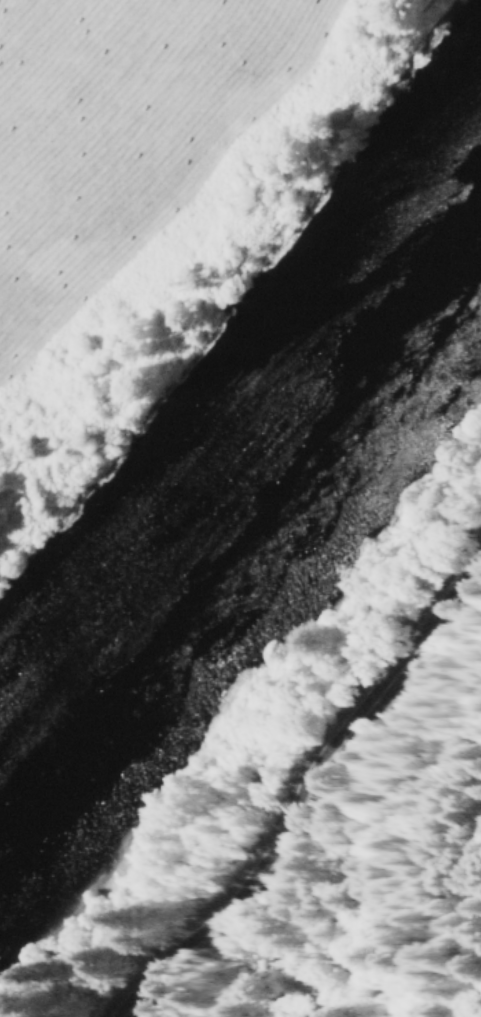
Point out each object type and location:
river: (250, 507)
road: (289, 758)

